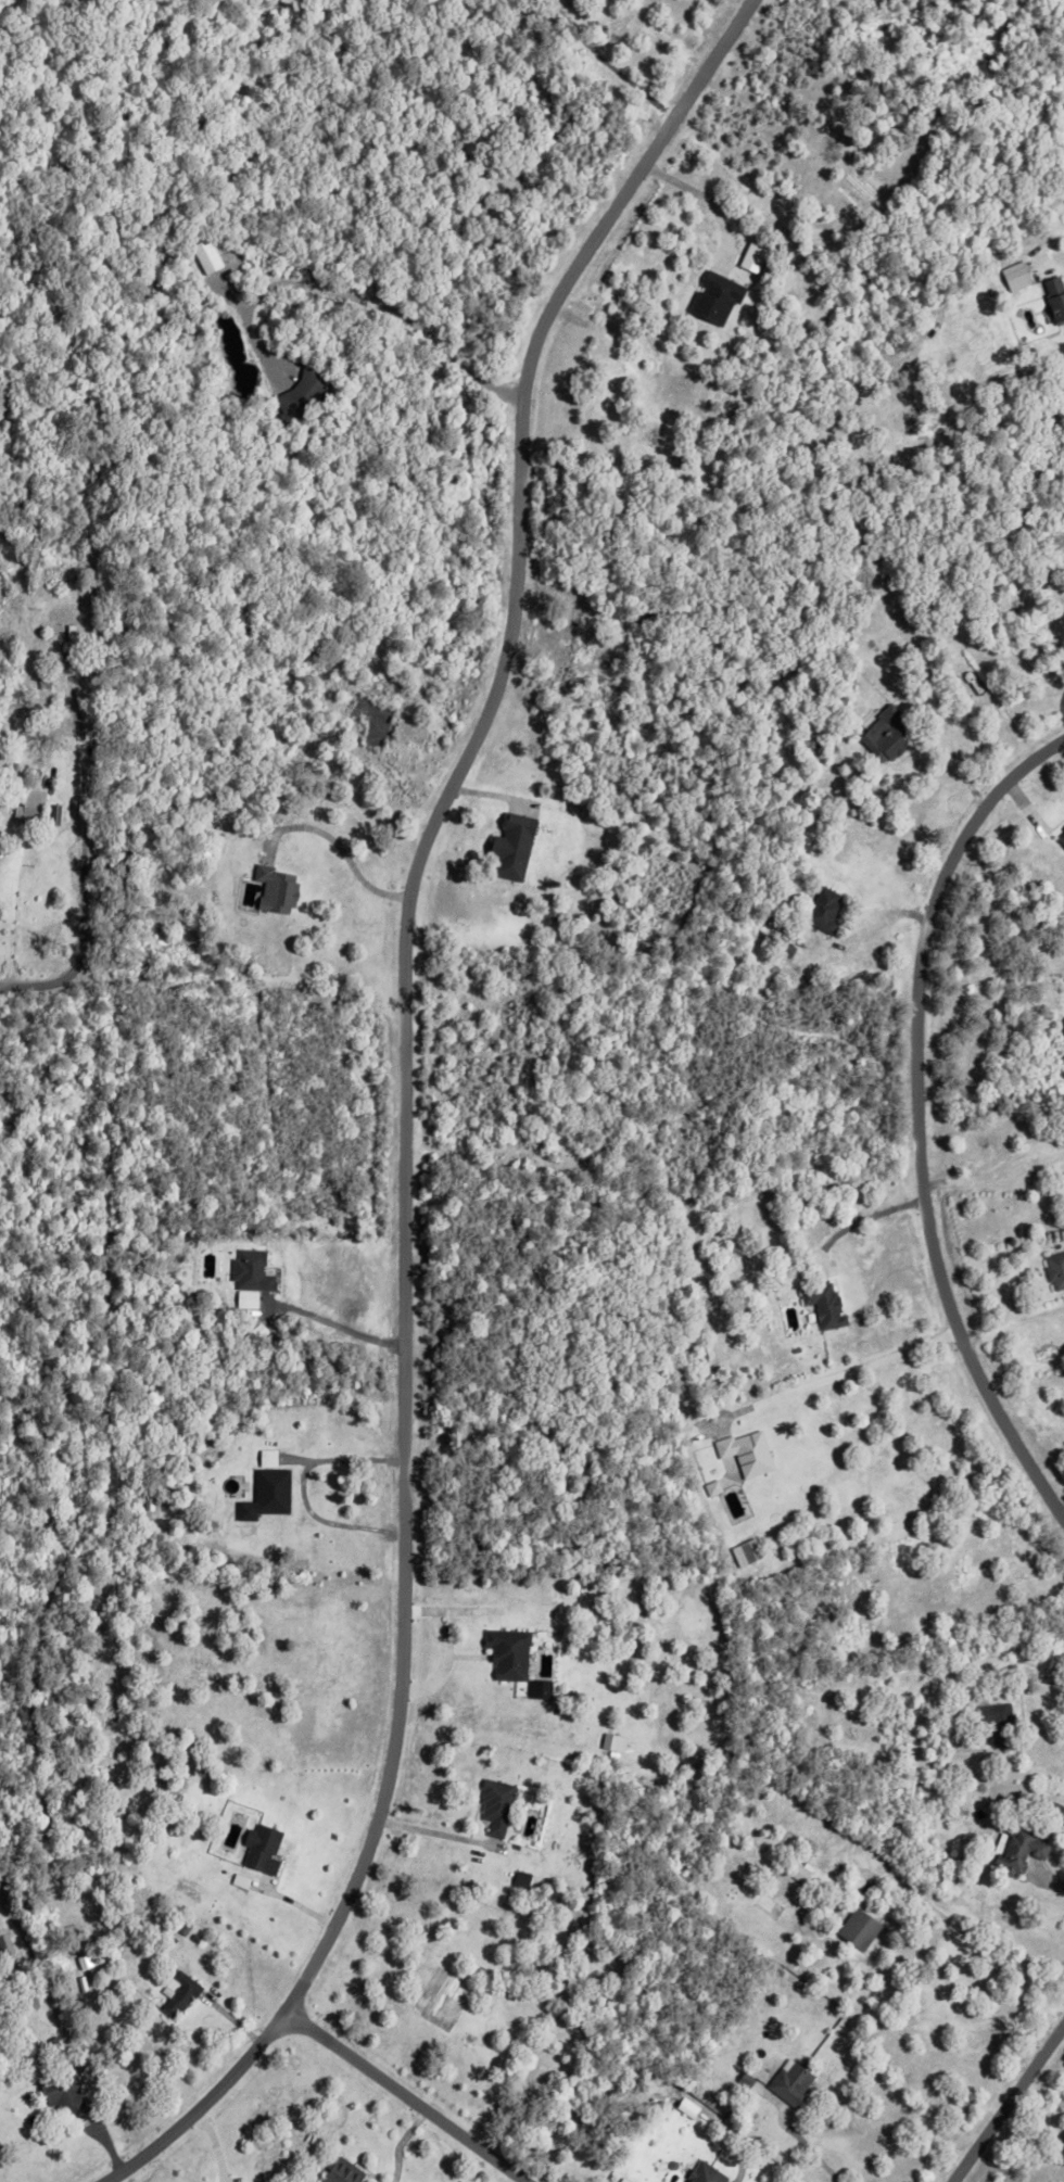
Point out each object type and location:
road: (706, 198)
road: (1039, 252)
building: (207, 257)
building: (1013, 278)
road: (355, 299)
building: (712, 299)
building: (1053, 299)
building: (23, 500)
building: (83, 630)
building: (67, 635)
building: (373, 721)
building: (883, 735)
road: (950, 762)
building: (17, 788)
building: (29, 816)
building: (1060, 838)
road: (81, 839)
road: (335, 839)
building: (507, 849)
building: (271, 890)
building: (821, 911)
road: (11, 926)
road: (403, 972)
road: (46, 989)
road: (910, 1119)
road: (990, 1179)
road: (861, 1214)
building: (1054, 1266)
building: (249, 1272)
building: (822, 1301)
road: (1011, 1319)
road: (331, 1322)
building: (698, 1348)
road: (839, 1374)
building: (743, 1454)
building: (270, 1458)
road: (300, 1483)
building: (270, 1495)
building: (743, 1552)
building: (505, 1654)
road: (1048, 1678)
building: (536, 1689)
building: (995, 1718)
building: (610, 1743)
building: (493, 1807)
building: (1050, 1807)
road: (436, 1835)
building: (1015, 1847)
building: (266, 1849)
building: (797, 1868)
building: (109, 1876)
road: (1051, 1880)
road: (293, 1903)
building: (856, 1926)
building: (191, 1933)
building: (7, 1949)
road: (981, 1955)
building: (178, 1991)
building: (743, 2077)
building: (788, 2081)
building: (60, 2089)
road: (409, 2094)
road: (206, 2103)
road: (1010, 2106)
road: (400, 2141)
road: (109, 2144)
road: (811, 2151)
building: (340, 2170)
building: (701, 2173)
building: (360, 2180)

